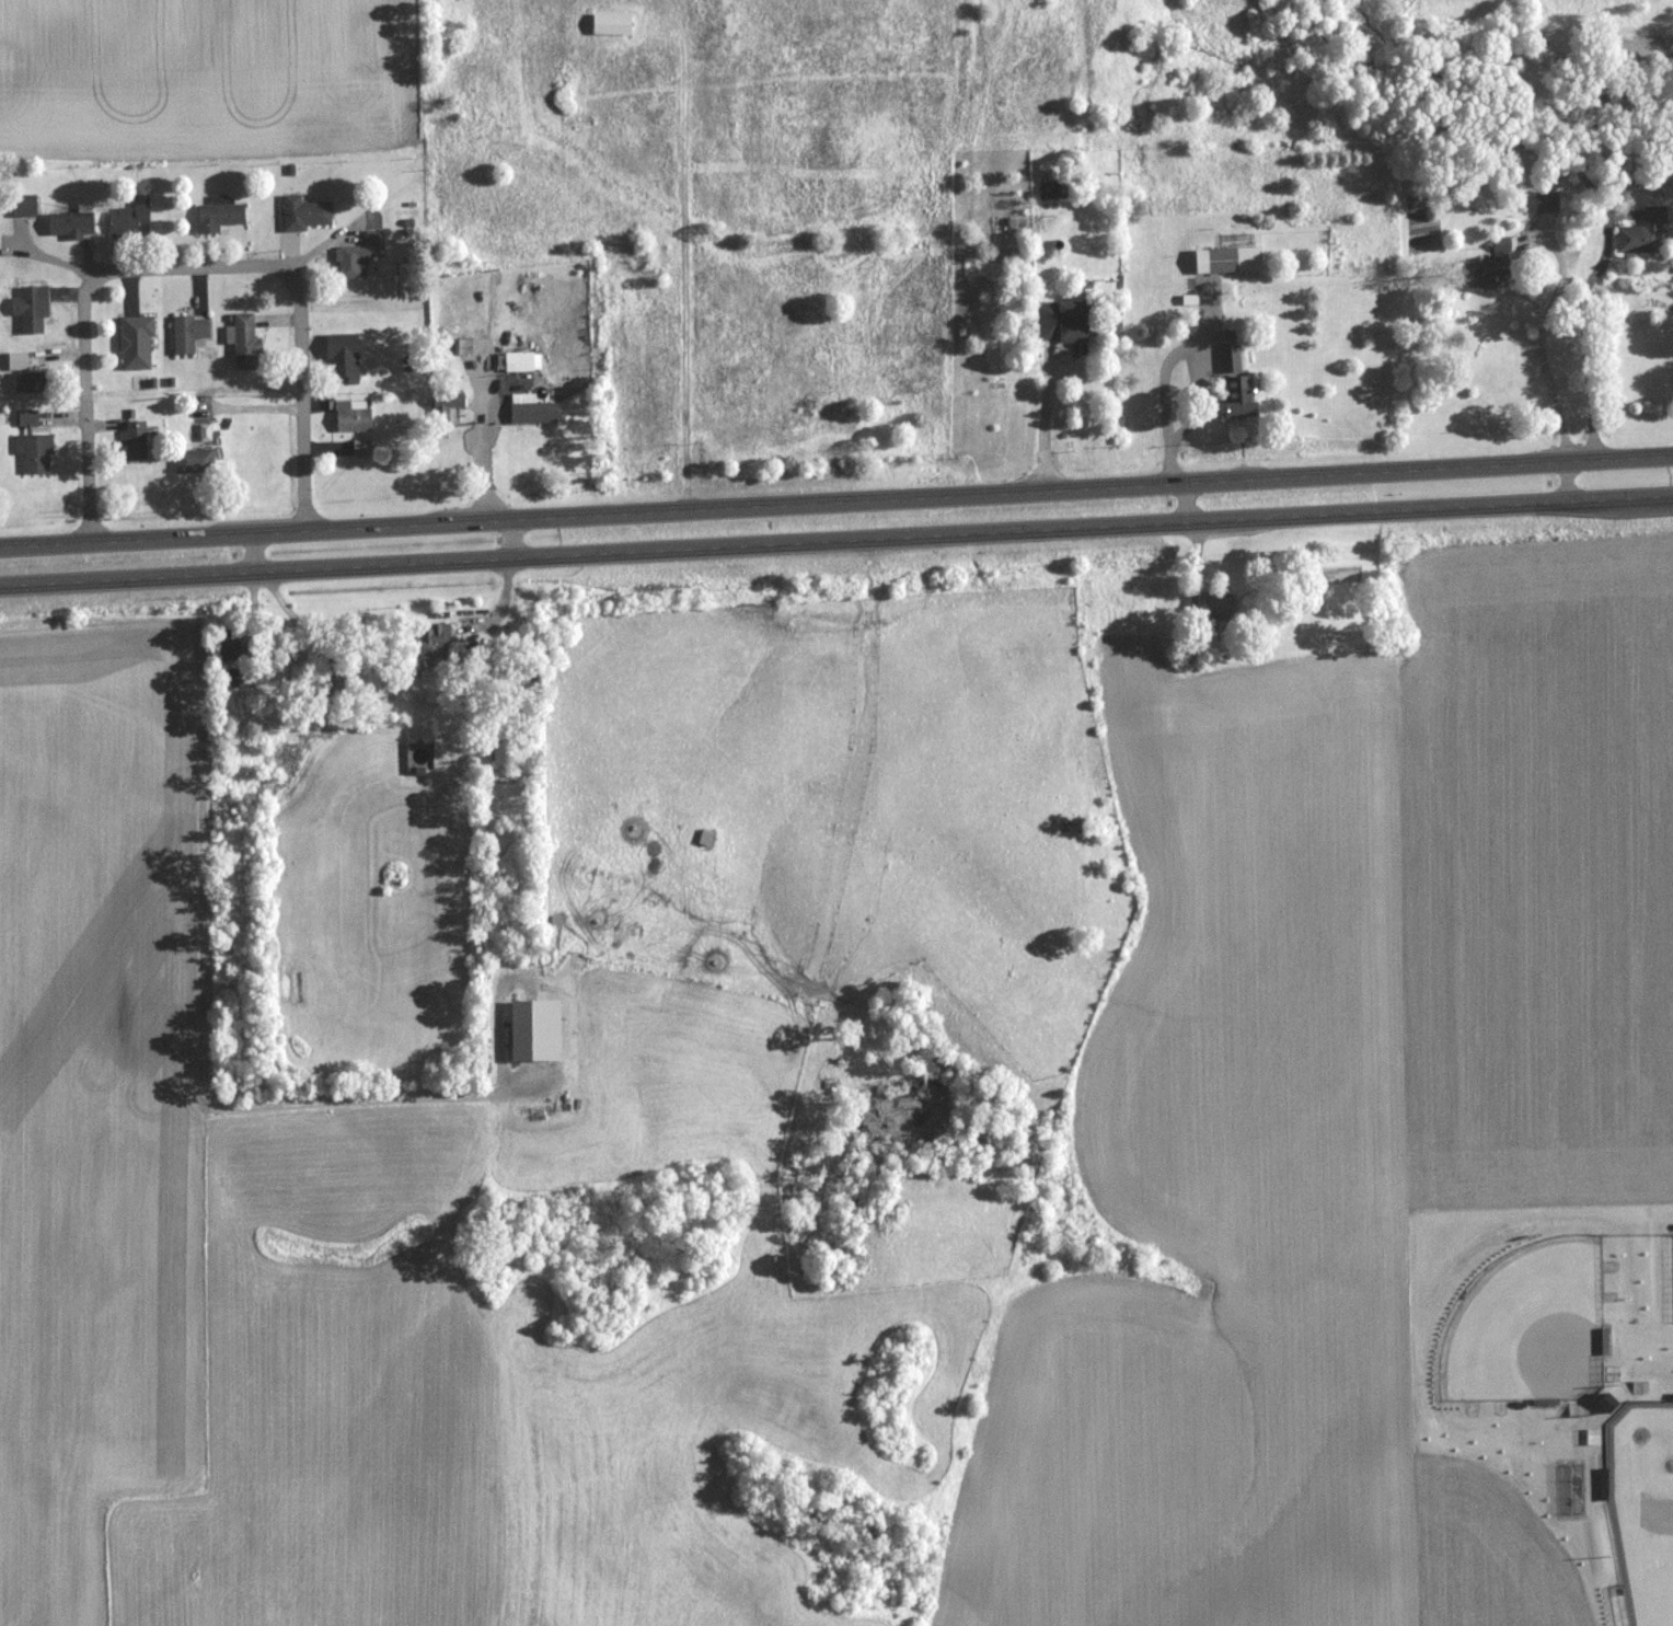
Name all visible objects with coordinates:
building: (618, 25)
building: (1553, 204)
building: (28, 207)
building: (309, 214)
building: (223, 215)
building: (77, 223)
building: (1651, 233)
building: (364, 255)
building: (1234, 261)
road: (187, 267)
building: (1503, 267)
building: (35, 309)
building: (1070, 322)
building: (192, 334)
road: (1543, 336)
building: (140, 343)
building: (249, 343)
road: (1591, 344)
building: (350, 357)
building: (22, 361)
building: (528, 362)
building: (35, 382)
road: (194, 390)
building: (1244, 390)
building: (539, 414)
building: (355, 416)
road: (1046, 424)
building: (208, 433)
building: (139, 441)
building: (37, 445)
building: (366, 449)
road: (489, 455)
building: (193, 462)
road: (1566, 483)
road: (1189, 504)
road: (836, 505)
road: (517, 541)
road: (836, 543)
road: (255, 554)
building: (1225, 604)
building: (442, 637)
building: (235, 648)
building: (506, 753)
road: (201, 925)
building: (542, 1030)
park: (1528, 1326)

